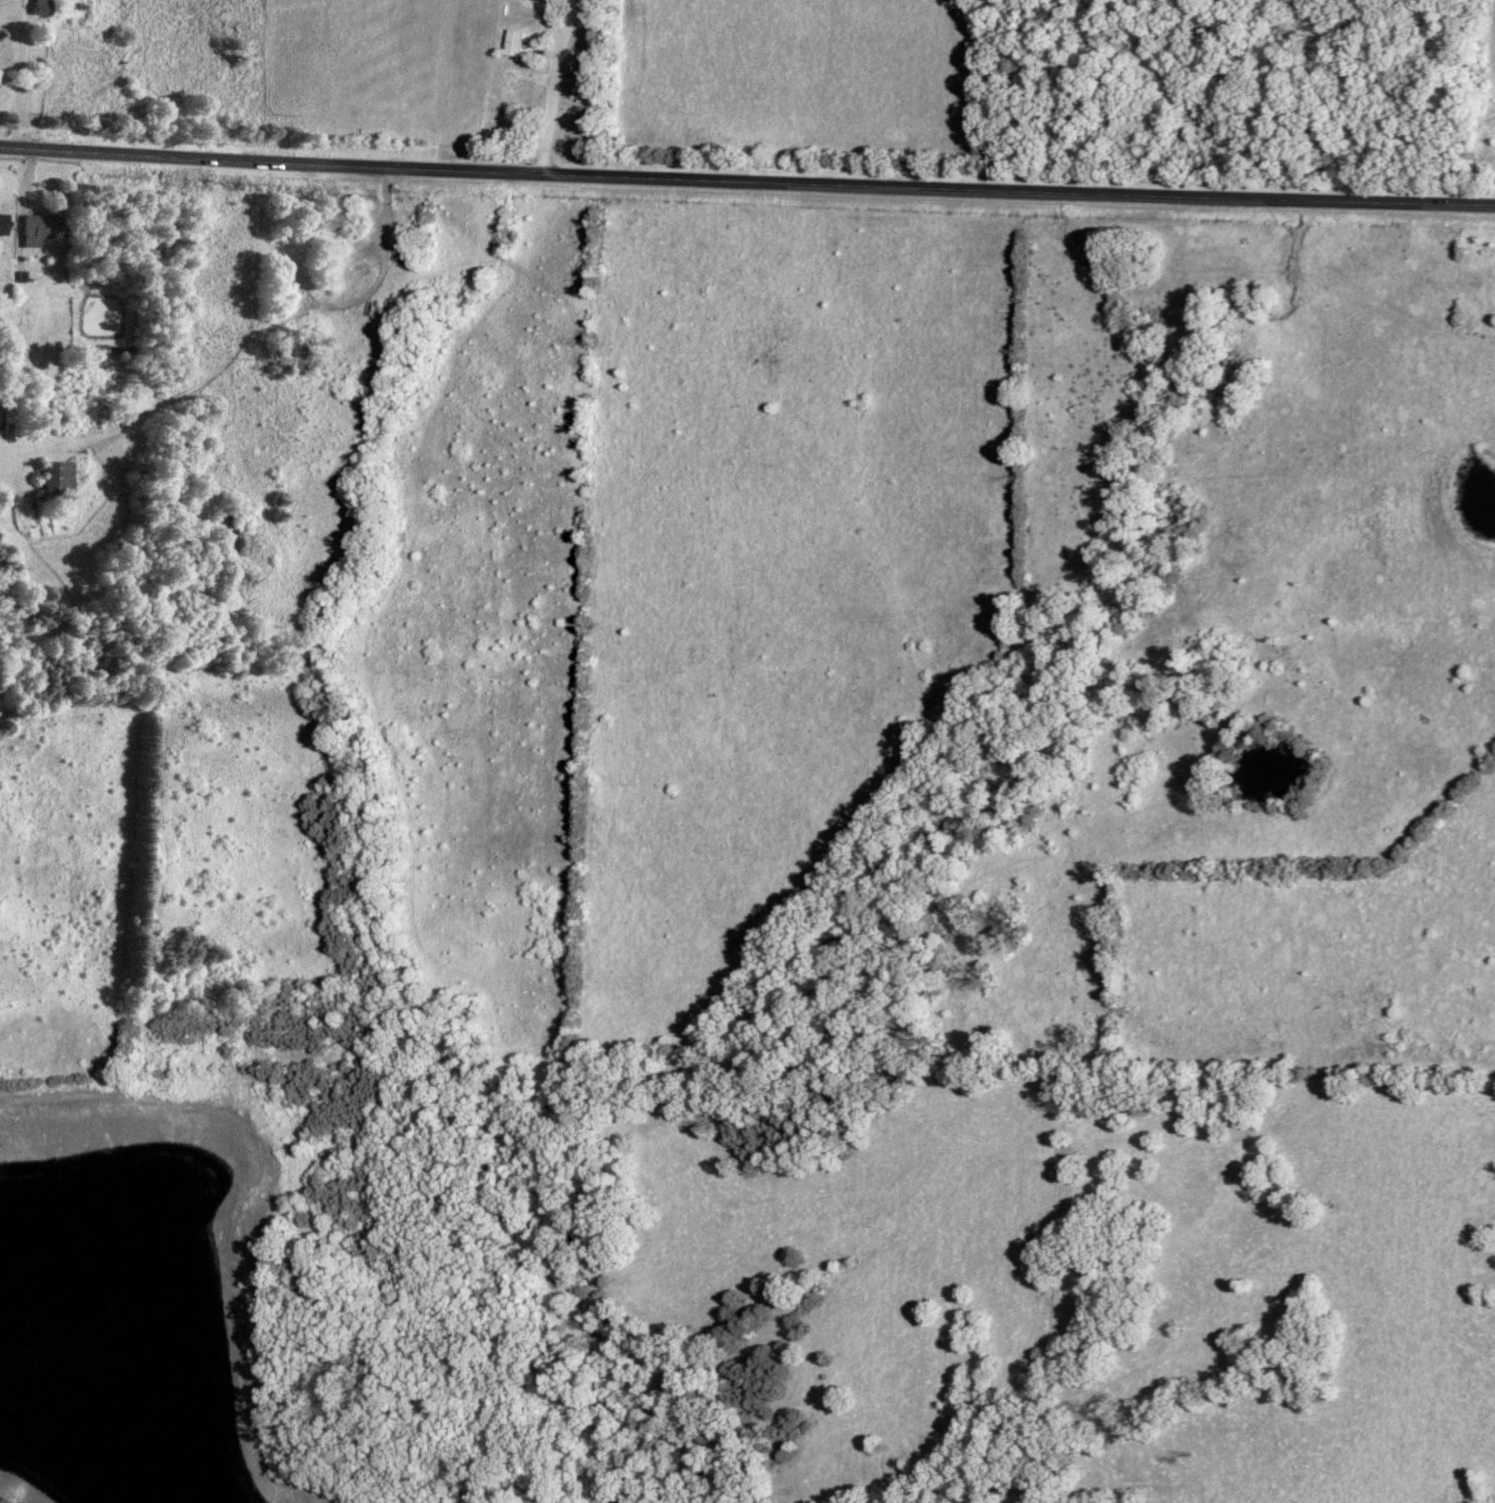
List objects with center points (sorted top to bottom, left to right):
building: (39, 7)
building: (511, 44)
road: (23, 74)
building: (580, 80)
road: (550, 88)
building: (502, 104)
road: (747, 186)
building: (0, 224)
building: (37, 231)
road: (384, 271)
building: (284, 353)
building: (53, 482)

